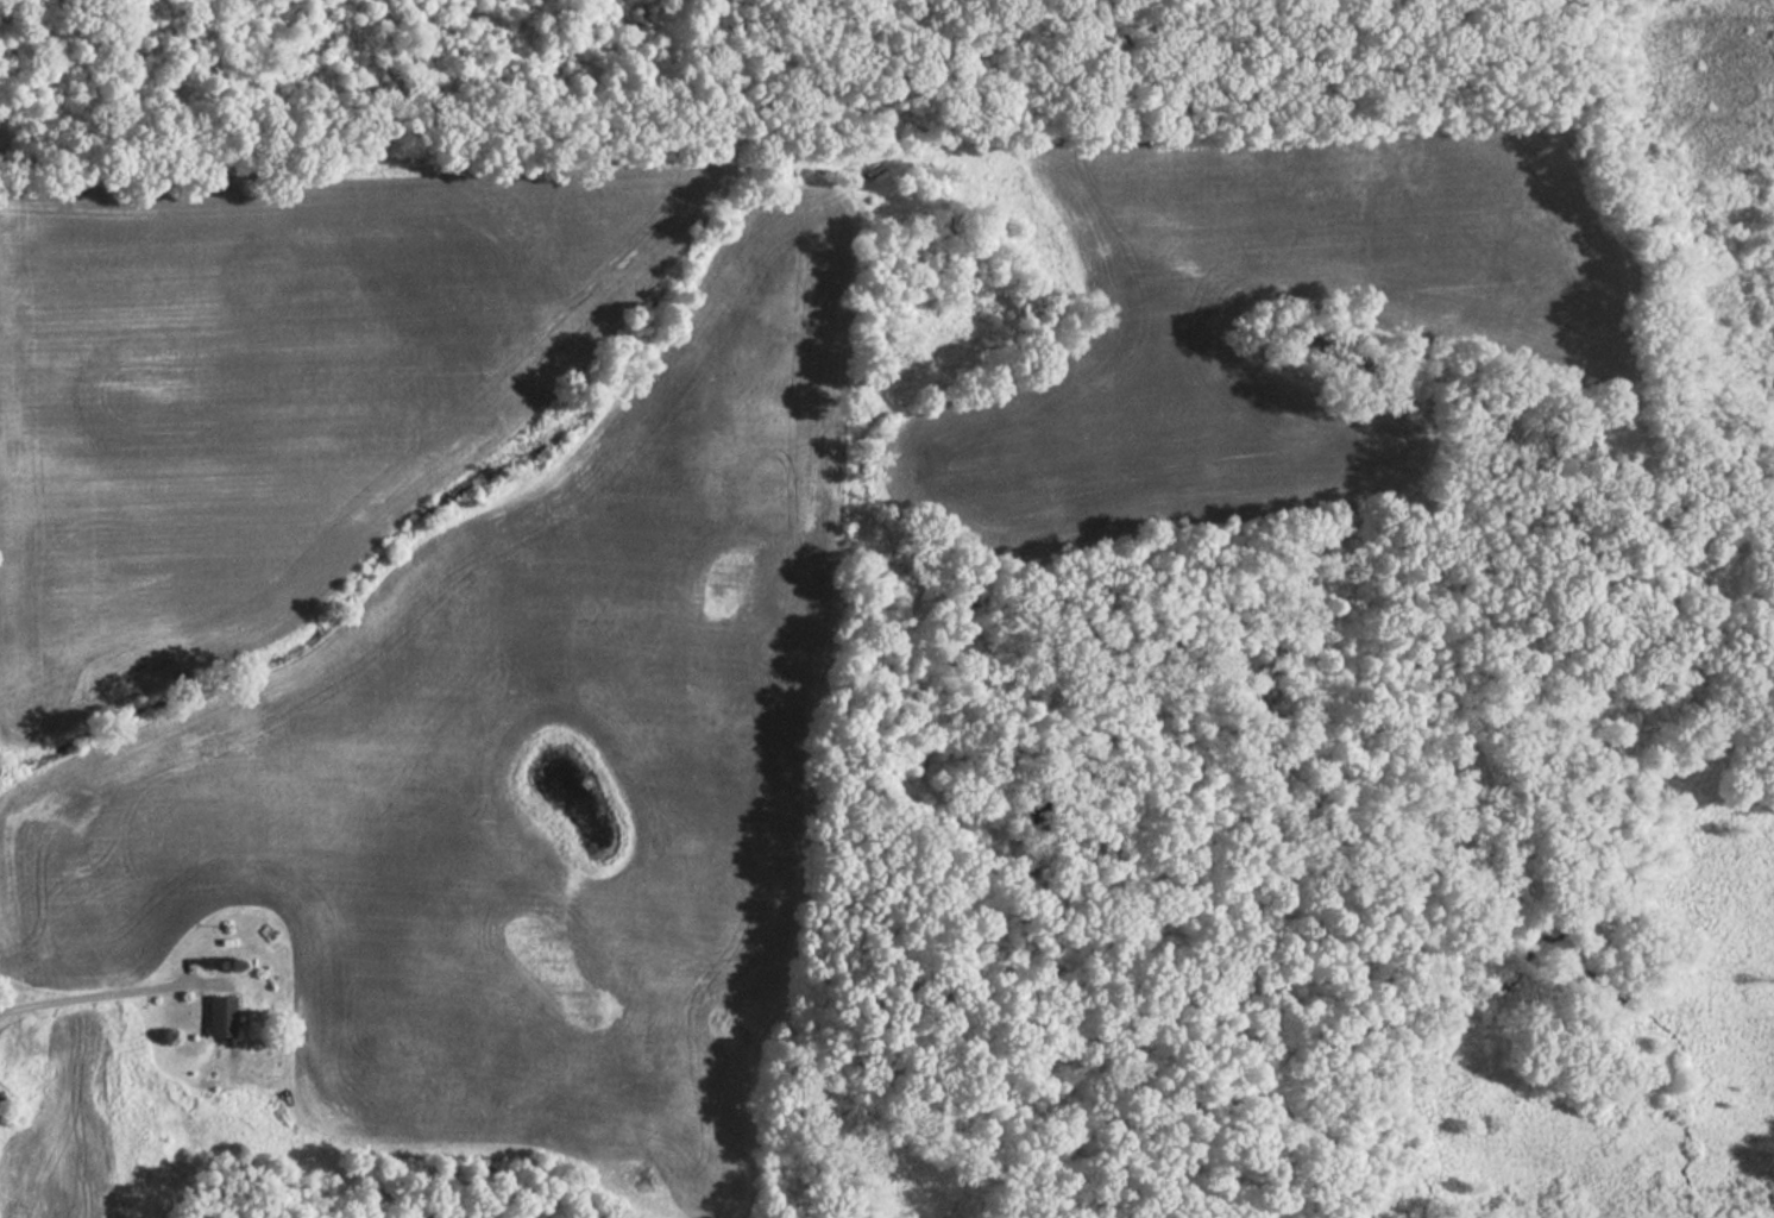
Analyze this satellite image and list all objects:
park: (782, 65)
road: (93, 998)
building: (215, 1017)

